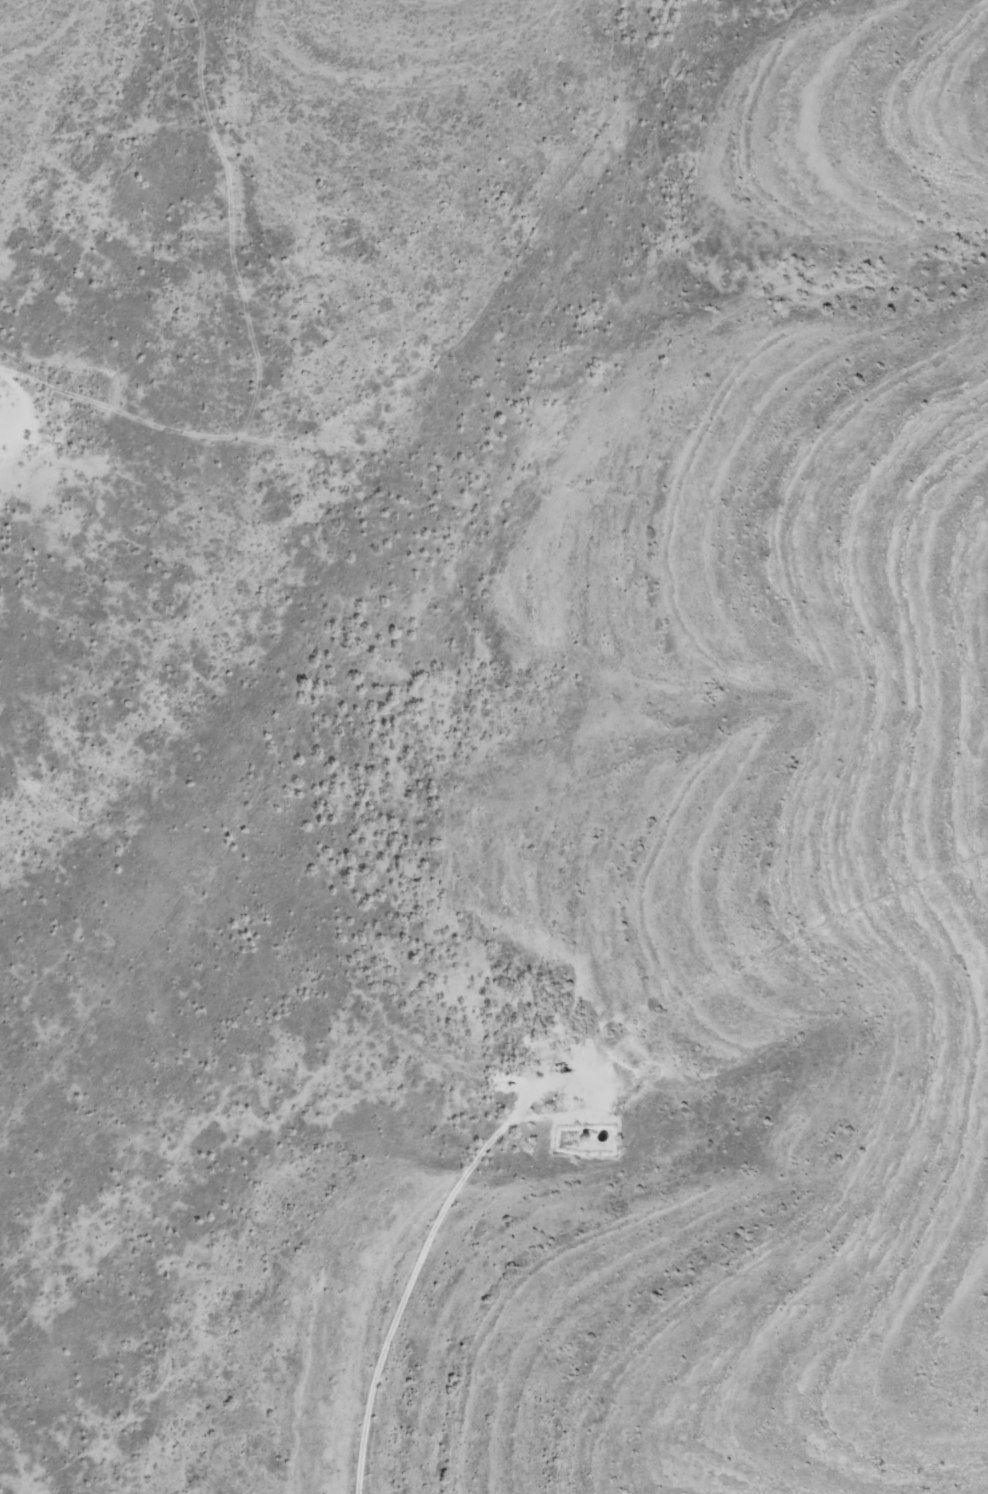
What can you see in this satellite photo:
road: (453, 1218)

